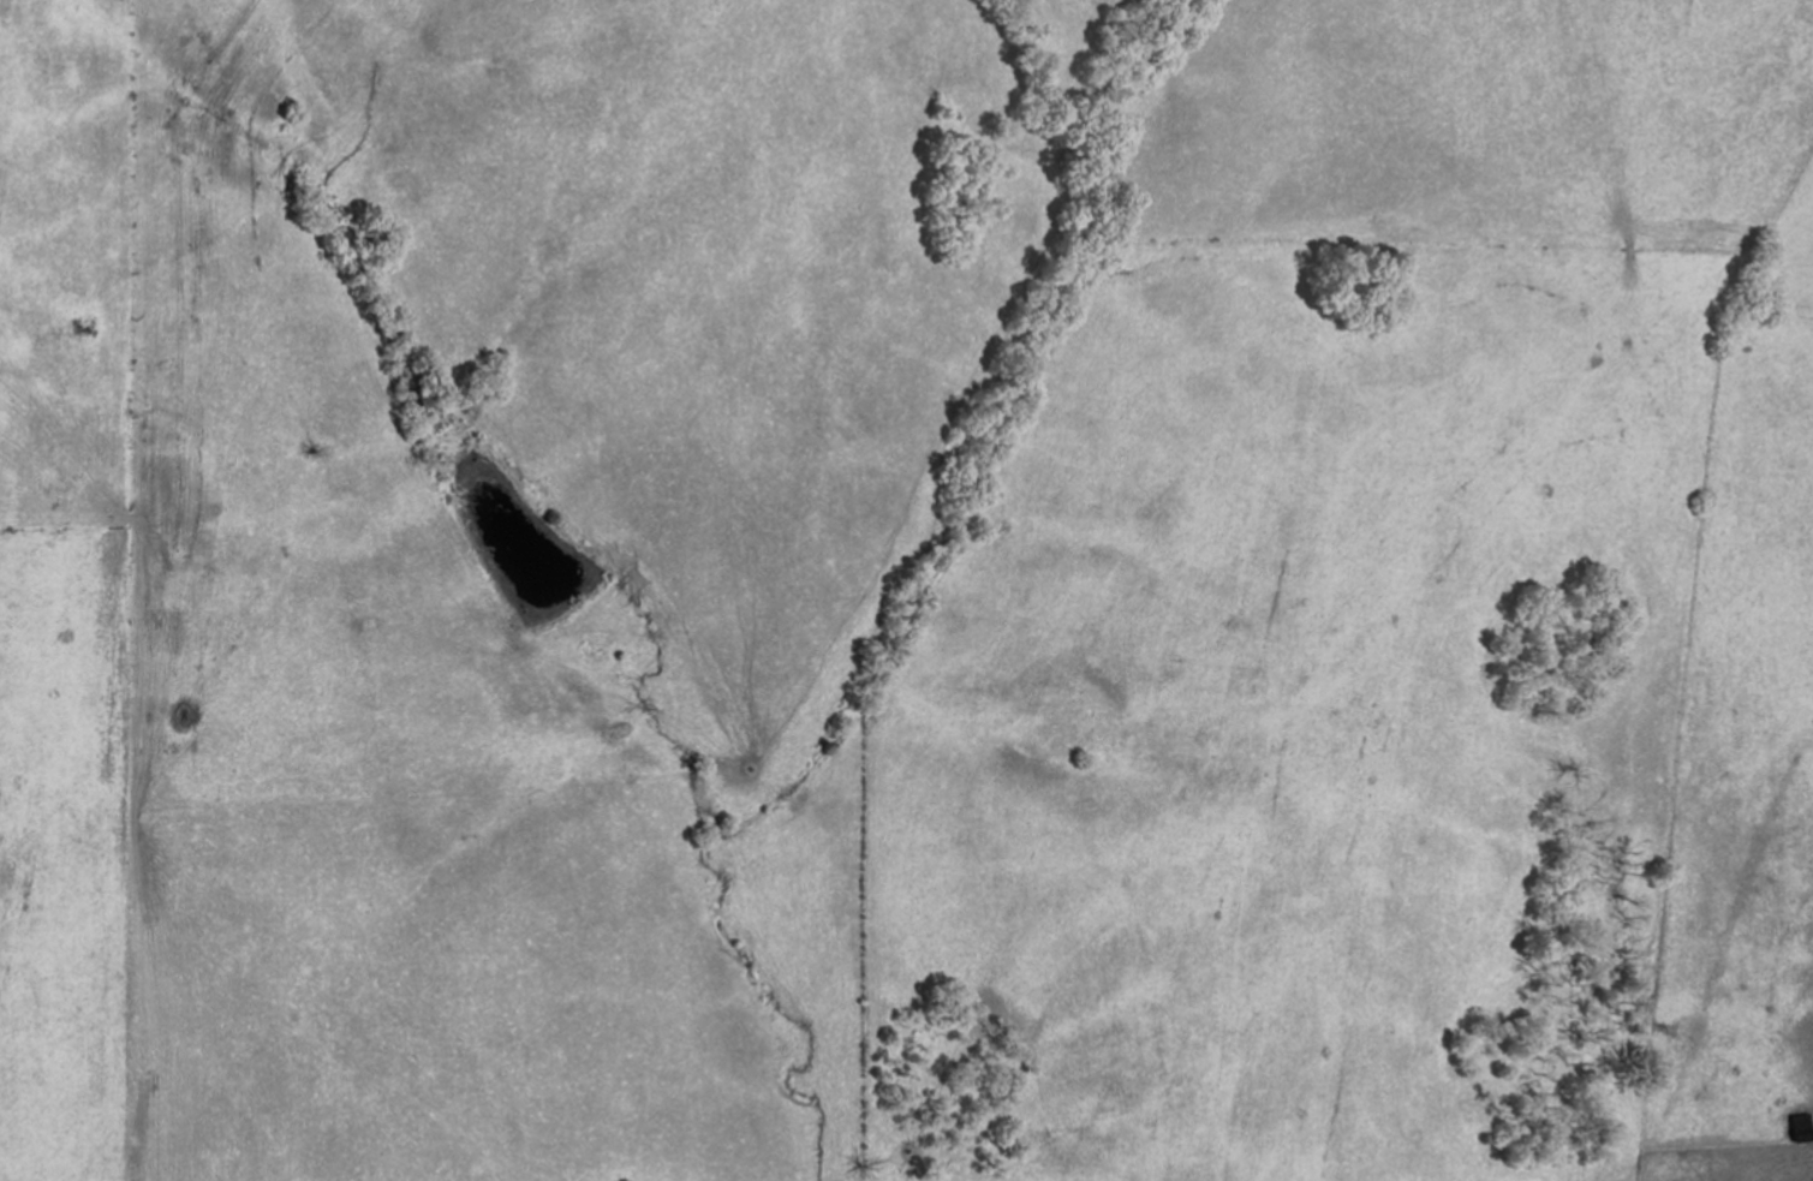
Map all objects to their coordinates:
building: (1799, 1129)

